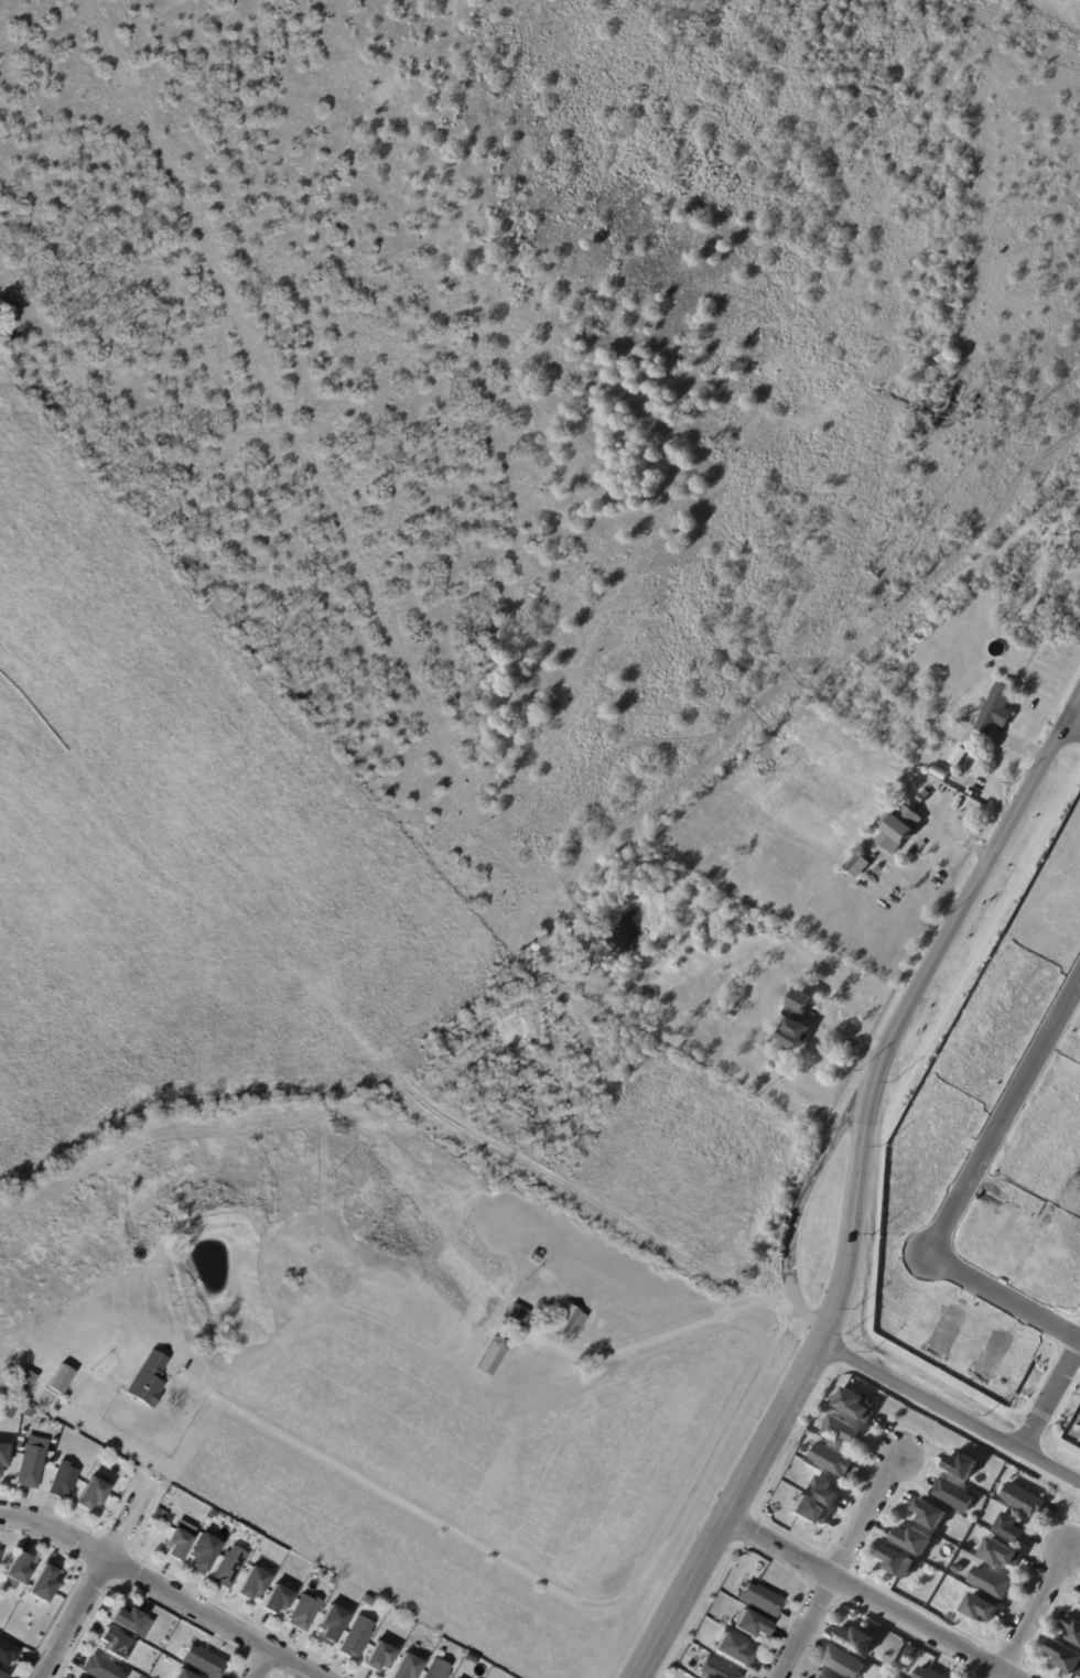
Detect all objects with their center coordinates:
building: (938, 667)
building: (996, 710)
building: (962, 718)
road: (1072, 725)
building: (958, 759)
building: (921, 800)
building: (898, 830)
building: (857, 867)
building: (878, 870)
road: (975, 879)
building: (804, 982)
building: (798, 1021)
building: (816, 1101)
road: (1005, 1116)
road: (802, 1194)
road: (853, 1205)
building: (534, 1258)
building: (307, 1296)
road: (1005, 1297)
building: (514, 1314)
building: (566, 1323)
road: (811, 1323)
road: (660, 1336)
building: (490, 1357)
building: (26, 1379)
building: (61, 1379)
building: (147, 1382)
road: (1051, 1396)
building: (853, 1405)
building: (12, 1410)
road: (950, 1411)
road: (771, 1430)
building: (842, 1431)
building: (3, 1457)
building: (832, 1461)
building: (31, 1466)
building: (961, 1466)
building: (64, 1480)
building: (172, 1491)
building: (824, 1491)
building: (93, 1494)
building: (952, 1495)
building: (1022, 1501)
building: (808, 1512)
building: (929, 1515)
building: (183, 1527)
building: (1009, 1528)
building: (912, 1540)
building: (177, 1546)
building: (204, 1552)
building: (998, 1553)
building: (0, 1556)
building: (895, 1560)
road: (841, 1565)
building: (229, 1567)
building: (957, 1569)
building: (18, 1571)
road: (95, 1578)
building: (45, 1583)
building: (253, 1583)
building: (990, 1583)
road: (162, 1588)
road: (550, 1588)
road: (864, 1596)
road: (678, 1598)
building: (278, 1600)
building: (758, 1601)
building: (367, 1602)
building: (1079, 1604)
building: (978, 1609)
building: (305, 1612)
road: (1033, 1615)
building: (128, 1620)
building: (333, 1624)
building: (749, 1625)
building: (1072, 1630)
building: (358, 1635)
building: (855, 1641)
building: (116, 1644)
building: (730, 1650)
building: (8, 1653)
building: (379, 1657)
building: (1065, 1657)
building: (204, 1661)
road: (262, 1664)
building: (843, 1664)
building: (407, 1667)
building: (102, 1668)
building: (438, 1669)
building: (715, 1670)
building: (928, 1674)
building: (184, 1675)
building: (819, 1675)
building: (3, 1676)

